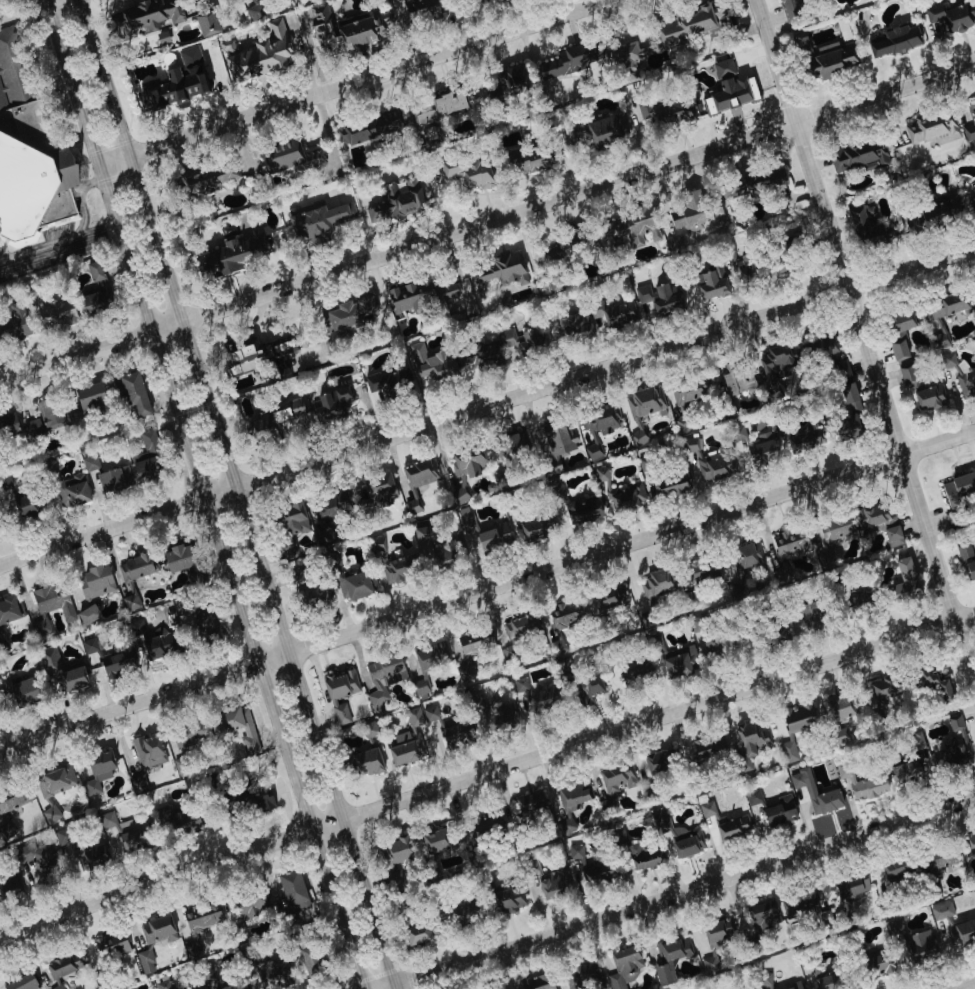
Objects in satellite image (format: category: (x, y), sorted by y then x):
road: (45, 0)
building: (242, 0)
building: (391, 0)
building: (490, 1)
building: (417, 8)
building: (790, 8)
building: (254, 11)
building: (952, 16)
building: (145, 17)
building: (205, 23)
building: (686, 25)
building: (351, 30)
building: (894, 41)
building: (257, 54)
building: (189, 55)
building: (824, 56)
building: (569, 60)
building: (624, 61)
building: (511, 80)
road: (352, 84)
building: (177, 88)
building: (447, 103)
building: (671, 112)
building: (971, 113)
building: (423, 117)
building: (368, 128)
building: (598, 130)
building: (931, 130)
building: (424, 134)
building: (29, 149)
building: (859, 156)
building: (291, 157)
building: (521, 162)
building: (467, 171)
building: (775, 179)
building: (198, 182)
building: (971, 201)
building: (396, 202)
building: (695, 212)
building: (932, 213)
building: (313, 220)
road: (487, 223)
building: (633, 227)
building: (864, 228)
road: (96, 229)
road: (73, 236)
building: (675, 242)
building: (566, 243)
road: (58, 251)
building: (235, 254)
road: (60, 261)
building: (743, 266)
building: (501, 270)
building: (709, 285)
building: (94, 292)
building: (422, 296)
building: (658, 297)
building: (943, 308)
building: (54, 312)
building: (347, 313)
building: (615, 315)
building: (13, 325)
building: (568, 328)
road: (866, 339)
building: (517, 342)
building: (900, 343)
building: (256, 352)
building: (478, 355)
building: (830, 355)
building: (432, 362)
building: (774, 368)
building: (737, 379)
building: (387, 382)
building: (966, 386)
building: (687, 392)
building: (132, 395)
building: (929, 397)
building: (83, 400)
building: (329, 406)
road: (487, 406)
building: (642, 409)
building: (846, 411)
building: (29, 421)
building: (273, 422)
building: (599, 427)
building: (559, 438)
building: (803, 442)
building: (511, 445)
building: (761, 448)
building: (145, 459)
building: (707, 461)
building: (89, 464)
building: (551, 466)
building: (464, 470)
building: (419, 472)
building: (600, 473)
building: (113, 480)
building: (4, 483)
building: (670, 484)
building: (380, 487)
building: (606, 488)
building: (957, 488)
building: (73, 490)
road: (240, 494)
road: (200, 495)
building: (628, 498)
building: (412, 505)
building: (21, 506)
building: (582, 511)
building: (465, 518)
building: (293, 519)
building: (879, 524)
building: (532, 528)
building: (835, 529)
building: (492, 537)
building: (323, 539)
building: (435, 544)
building: (288, 550)
building: (786, 550)
building: (175, 558)
building: (967, 561)
building: (741, 567)
building: (396, 568)
building: (702, 570)
building: (134, 577)
building: (903, 579)
building: (93, 582)
building: (350, 582)
building: (652, 586)
road: (486, 587)
building: (307, 591)
building: (607, 598)
building: (51, 605)
building: (7, 610)
building: (808, 613)
building: (87, 615)
building: (561, 621)
building: (204, 624)
building: (520, 624)
building: (709, 641)
building: (157, 643)
building: (88, 646)
building: (472, 648)
building: (116, 660)
building: (681, 661)
building: (59, 671)
building: (635, 673)
building: (421, 674)
building: (383, 677)
building: (931, 681)
building: (520, 684)
building: (586, 689)
building: (881, 689)
building: (22, 692)
building: (340, 693)
building: (544, 699)
building: (842, 706)
building: (493, 711)
building: (430, 713)
building: (413, 716)
building: (798, 717)
building: (954, 722)
building: (235, 724)
building: (457, 731)
building: (191, 734)
building: (753, 736)
building: (915, 741)
building: (707, 747)
building: (405, 748)
building: (957, 750)
building: (788, 751)
building: (145, 758)
building: (658, 760)
building: (366, 762)
building: (97, 770)
road: (484, 771)
building: (903, 771)
building: (54, 780)
building: (614, 782)
building: (861, 783)
building: (830, 791)
building: (574, 793)
building: (752, 796)
building: (261, 799)
building: (530, 801)
building: (779, 811)
building: (3, 812)
building: (50, 813)
building: (179, 820)
building: (113, 822)
building: (485, 822)
building: (722, 824)
building: (567, 826)
building: (682, 838)
building: (133, 839)
building: (435, 839)
building: (971, 842)
building: (643, 856)
building: (940, 857)
building: (36, 861)
building: (593, 865)
building: (895, 868)
building: (553, 881)
building: (10, 886)
building: (290, 887)
building: (851, 887)
road: (674, 892)
building: (506, 901)
building: (805, 903)
building: (247, 905)
building: (938, 912)
building: (765, 913)
building: (197, 925)
building: (894, 926)
building: (718, 928)
building: (157, 929)
building: (416, 934)
building: (920, 945)
building: (109, 946)
building: (307, 958)
building: (670, 958)
building: (145, 961)
building: (709, 961)
building: (877, 961)
building: (60, 965)
building: (624, 965)
building: (273, 973)
building: (821, 977)
building: (764, 981)
building: (21, 982)
building: (536, 983)
building: (163, 984)
road: (965, 985)
building: (57, 986)
building: (226, 986)
building: (793, 986)
building: (499, 988)

